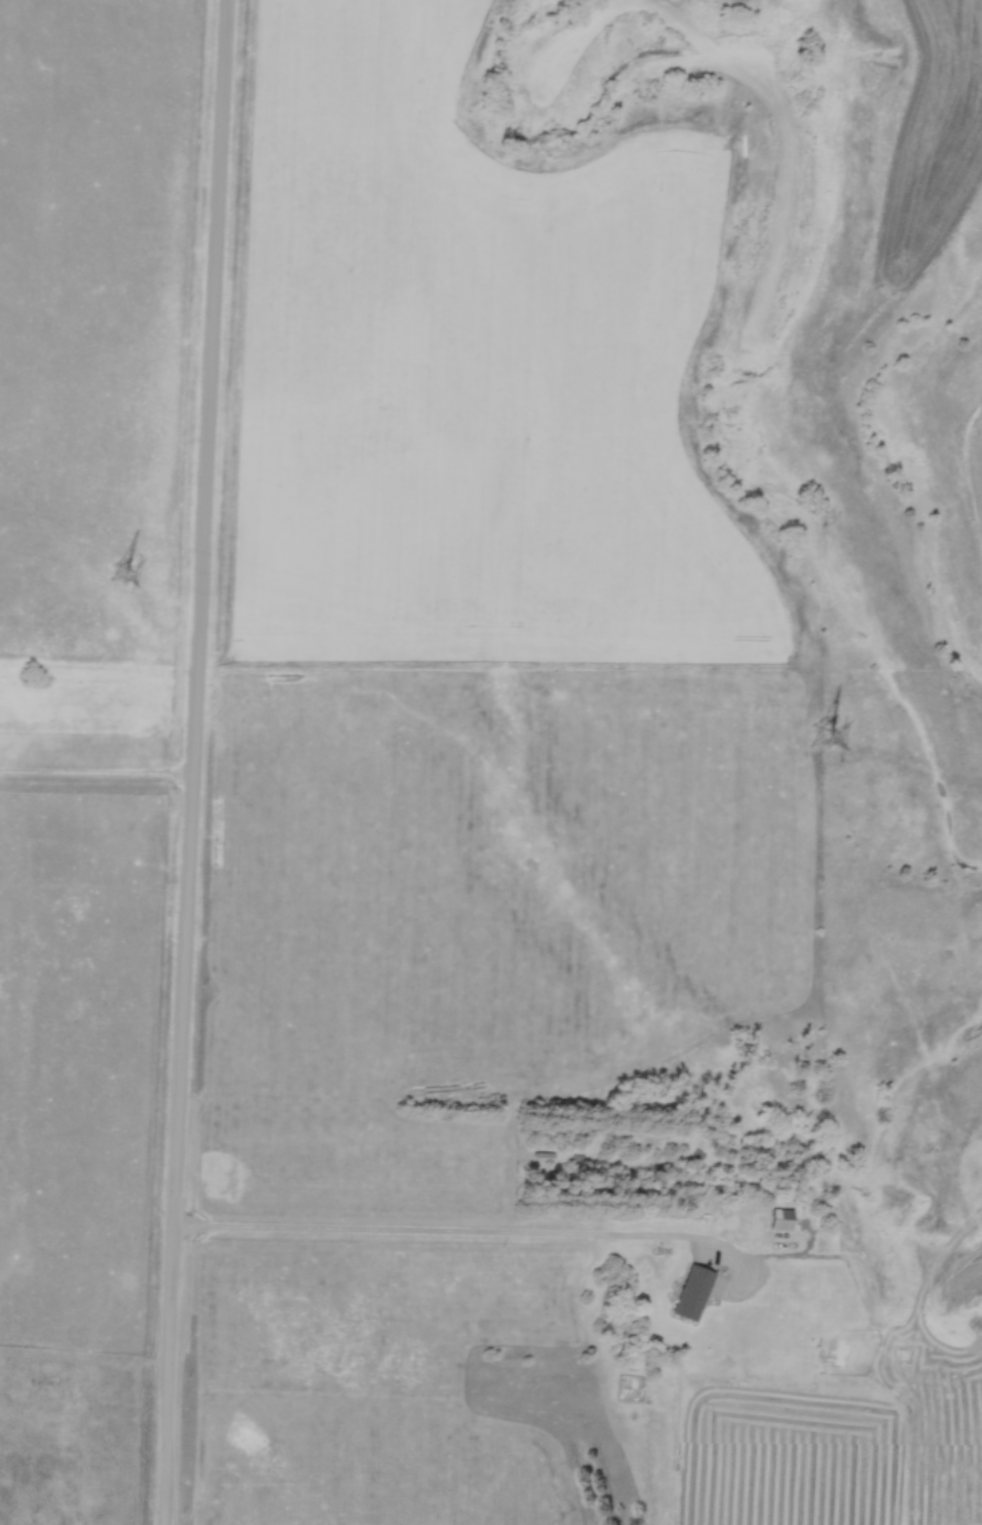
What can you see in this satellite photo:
building: (514, 170)
power tower: (121, 572)
power tower: (821, 737)
road: (194, 762)
road: (97, 770)
building: (785, 1221)
road: (446, 1235)
building: (829, 1320)

